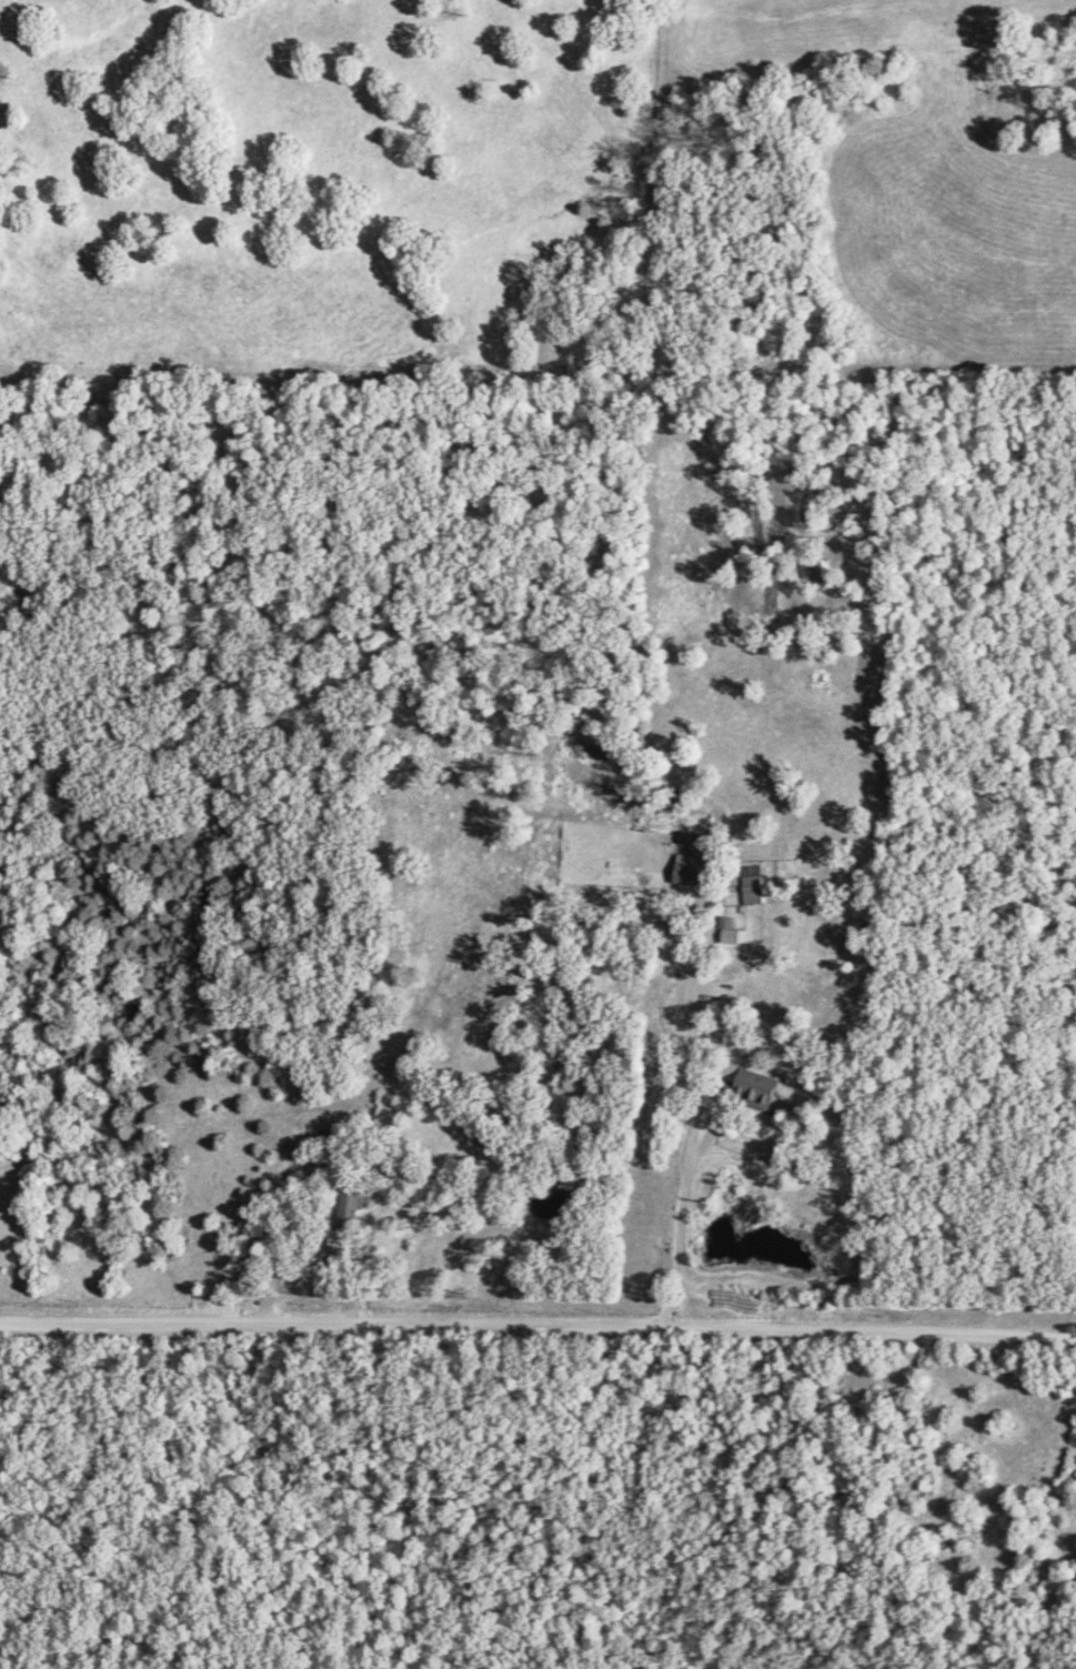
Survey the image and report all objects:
building: (688, 874)
building: (751, 874)
building: (728, 932)
road: (313, 1048)
building: (755, 1087)
road: (682, 1209)
building: (351, 1211)
road: (537, 1321)

